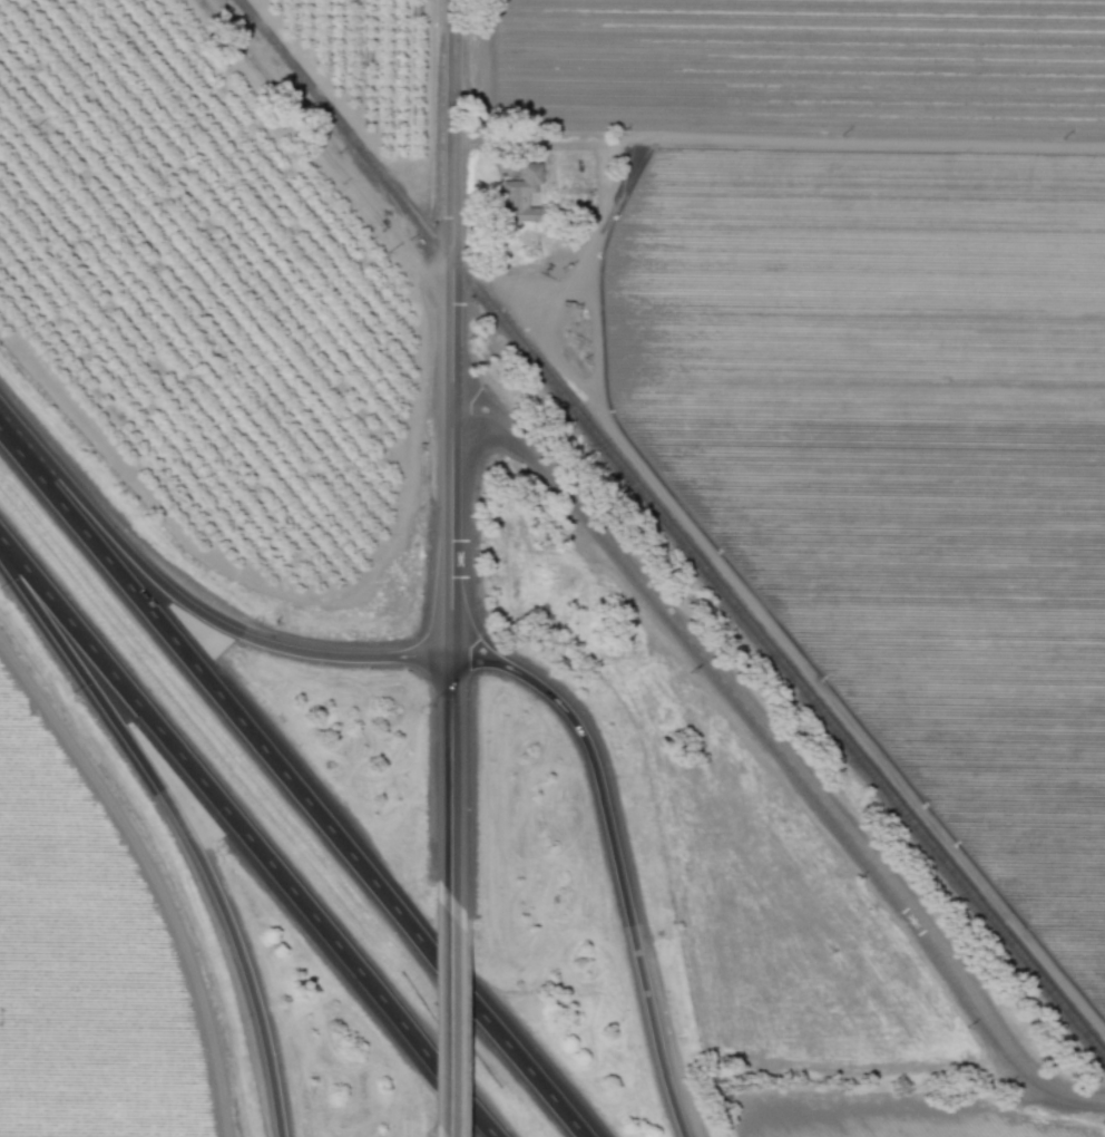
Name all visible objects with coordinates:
road: (779, 140)
building: (528, 175)
road: (451, 327)
railway: (671, 528)
road: (190, 608)
road: (782, 755)
road: (292, 784)
road: (450, 786)
road: (182, 826)
road: (247, 836)
road: (615, 856)
road: (450, 1027)

